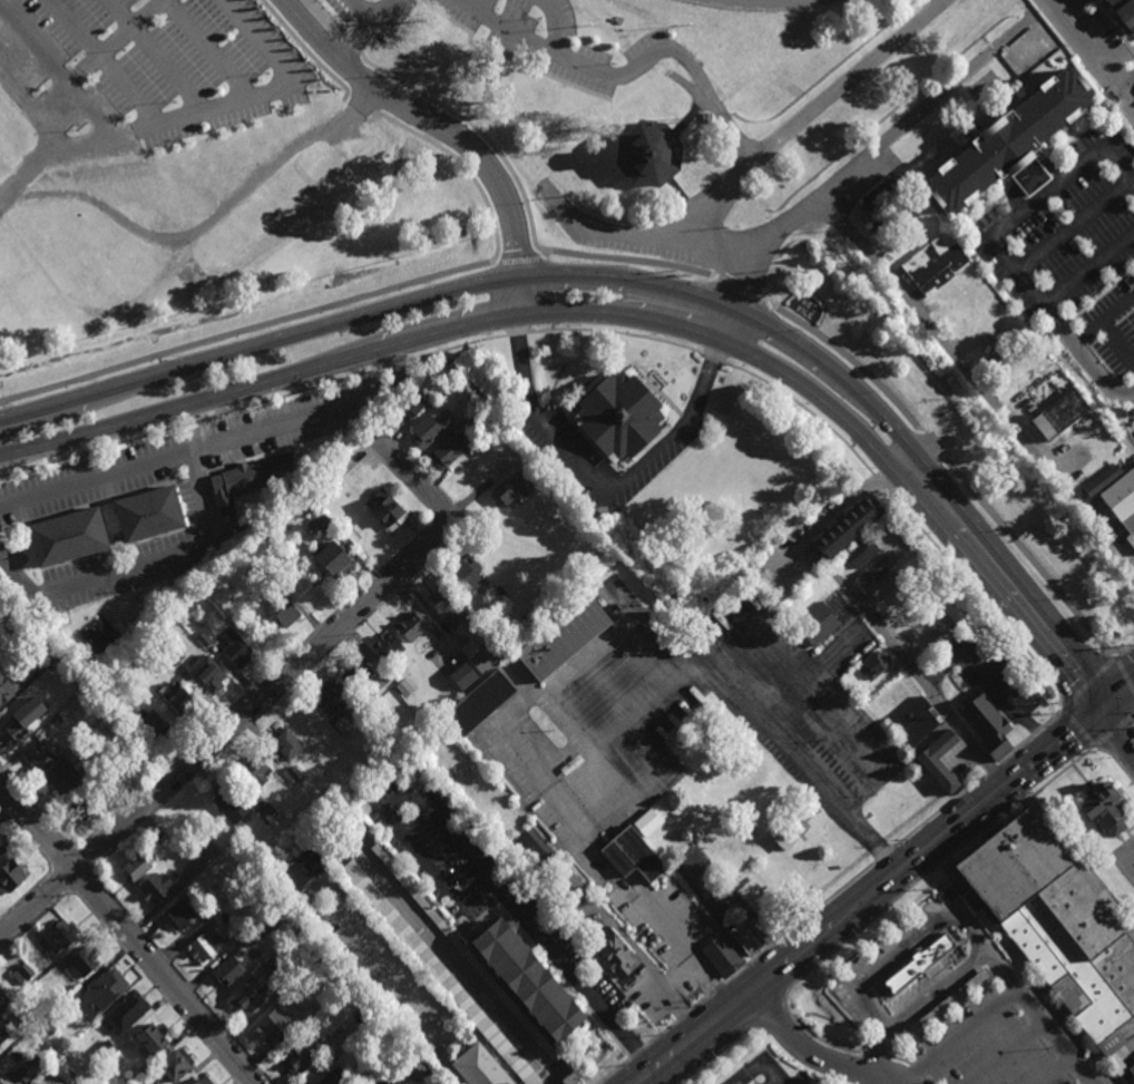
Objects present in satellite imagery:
track: (766, 3)
road: (362, 11)
building: (1125, 13)
parking lot: (373, 16)
road: (554, 26)
road: (364, 30)
parking lot: (553, 40)
road: (1096, 47)
road: (507, 53)
road: (629, 69)
parking lot: (144, 71)
road: (1130, 81)
road: (57, 88)
road: (18, 97)
road: (454, 98)
road: (448, 131)
building: (1007, 144)
building: (644, 156)
road: (751, 164)
road: (1116, 173)
road: (1046, 194)
building: (882, 202)
road: (784, 219)
road: (609, 233)
building: (901, 237)
road: (1045, 251)
road: (508, 252)
road: (1007, 254)
building: (935, 264)
road: (1089, 270)
road: (1104, 321)
road: (331, 325)
road: (241, 328)
road: (616, 333)
road: (516, 334)
road: (1117, 344)
road: (456, 346)
road: (358, 359)
road: (713, 359)
road: (394, 362)
road: (1094, 368)
road: (871, 379)
building: (449, 382)
road: (988, 399)
building: (408, 409)
building: (617, 411)
building: (485, 413)
building: (1065, 416)
road: (190, 421)
building: (430, 428)
road: (215, 442)
road: (379, 442)
building: (448, 450)
road: (919, 456)
building: (537, 469)
building: (252, 473)
road: (416, 477)
building: (1101, 480)
road: (604, 486)
building: (300, 492)
building: (511, 492)
building: (1122, 500)
road: (925, 508)
building: (147, 511)
building: (389, 511)
road: (827, 516)
road: (910, 517)
building: (888, 519)
building: (319, 521)
building: (845, 525)
building: (67, 534)
building: (912, 551)
building: (858, 554)
building: (334, 561)
road: (144, 566)
building: (874, 570)
building: (257, 574)
building: (465, 579)
building: (815, 584)
building: (881, 586)
building: (496, 593)
building: (447, 608)
building: (284, 612)
building: (469, 621)
building: (817, 624)
building: (944, 626)
building: (411, 627)
building: (203, 637)
building: (564, 639)
building: (140, 641)
building: (46, 646)
building: (387, 646)
building: (235, 647)
road: (294, 647)
road: (1125, 650)
building: (480, 653)
building: (173, 655)
road: (323, 656)
building: (63, 666)
building: (873, 666)
building: (206, 673)
road: (1125, 673)
building: (356, 674)
building: (460, 675)
road: (919, 676)
building: (71, 677)
road: (988, 682)
road: (1088, 683)
building: (404, 685)
building: (6, 691)
road: (1120, 692)
building: (333, 696)
building: (368, 697)
building: (178, 699)
building: (479, 702)
traffic signals: (1106, 703)
road: (757, 707)
building: (23, 719)
road: (1120, 720)
building: (55, 721)
building: (915, 722)
building: (986, 723)
building: (342, 724)
building: (150, 725)
road: (227, 727)
road: (1076, 727)
road: (1113, 731)
road: (1030, 738)
building: (285, 748)
building: (40, 758)
road: (1115, 762)
building: (939, 763)
building: (570, 764)
building: (97, 765)
road: (993, 769)
building: (256, 772)
building: (295, 773)
building: (61, 777)
road: (36, 805)
building: (233, 805)
building: (84, 808)
building: (1105, 808)
road: (939, 810)
building: (268, 811)
building: (646, 822)
building: (790, 832)
building: (506, 836)
road: (26, 837)
building: (2, 847)
road: (467, 852)
building: (532, 853)
building: (632, 854)
road: (882, 854)
road: (61, 857)
road: (84, 862)
building: (139, 867)
road: (930, 869)
building: (301, 871)
building: (9, 878)
road: (61, 880)
road: (84, 885)
building: (156, 888)
road: (27, 895)
road: (871, 895)
road: (827, 900)
road: (958, 910)
building: (183, 914)
road: (35, 920)
building: (265, 925)
road: (933, 929)
building: (1056, 929)
building: (63, 934)
road: (127, 935)
building: (747, 937)
road: (773, 941)
building: (207, 945)
building: (615, 953)
road: (686, 953)
building: (723, 956)
building: (85, 961)
road: (747, 964)
building: (915, 970)
road: (1000, 970)
building: (228, 971)
building: (439, 971)
building: (22, 974)
road: (183, 980)
building: (528, 982)
road: (765, 983)
road: (716, 987)
road: (154, 988)
building: (105, 990)
building: (248, 997)
road: (701, 999)
road: (675, 1003)
building: (950, 1003)
building: (127, 1012)
building: (374, 1012)
road: (685, 1012)
building: (307, 1015)
road: (770, 1015)
building: (274, 1025)
building: (45, 1029)
road: (661, 1032)
building: (3, 1033)
road: (962, 1036)
road: (1058, 1036)
road: (818, 1037)
building: (153, 1041)
parking lot: (1005, 1043)
road: (801, 1049)
building: (104, 1051)
road: (637, 1051)
road: (877, 1053)
road: (1008, 1053)
road: (718, 1054)
road: (877, 1054)
building: (302, 1057)
road: (900, 1059)
building: (147, 1065)
building: (174, 1066)
road: (762, 1067)
building: (29, 1068)
building: (480, 1068)
road: (1058, 1070)
road: (613, 1071)
road: (909, 1074)
building: (130, 1078)
building: (332, 1078)
building: (570, 1078)
building: (204, 1081)
building: (0, 1083)

